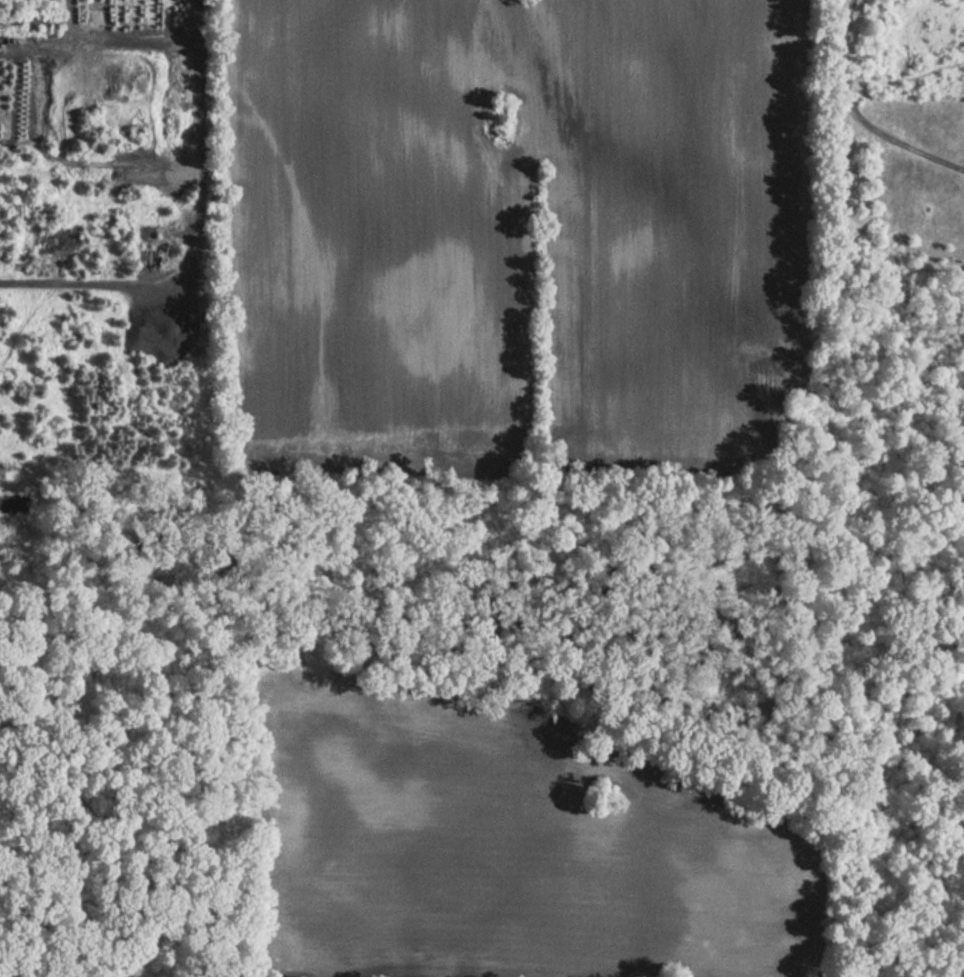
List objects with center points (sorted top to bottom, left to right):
road: (857, 115)
road: (195, 230)

